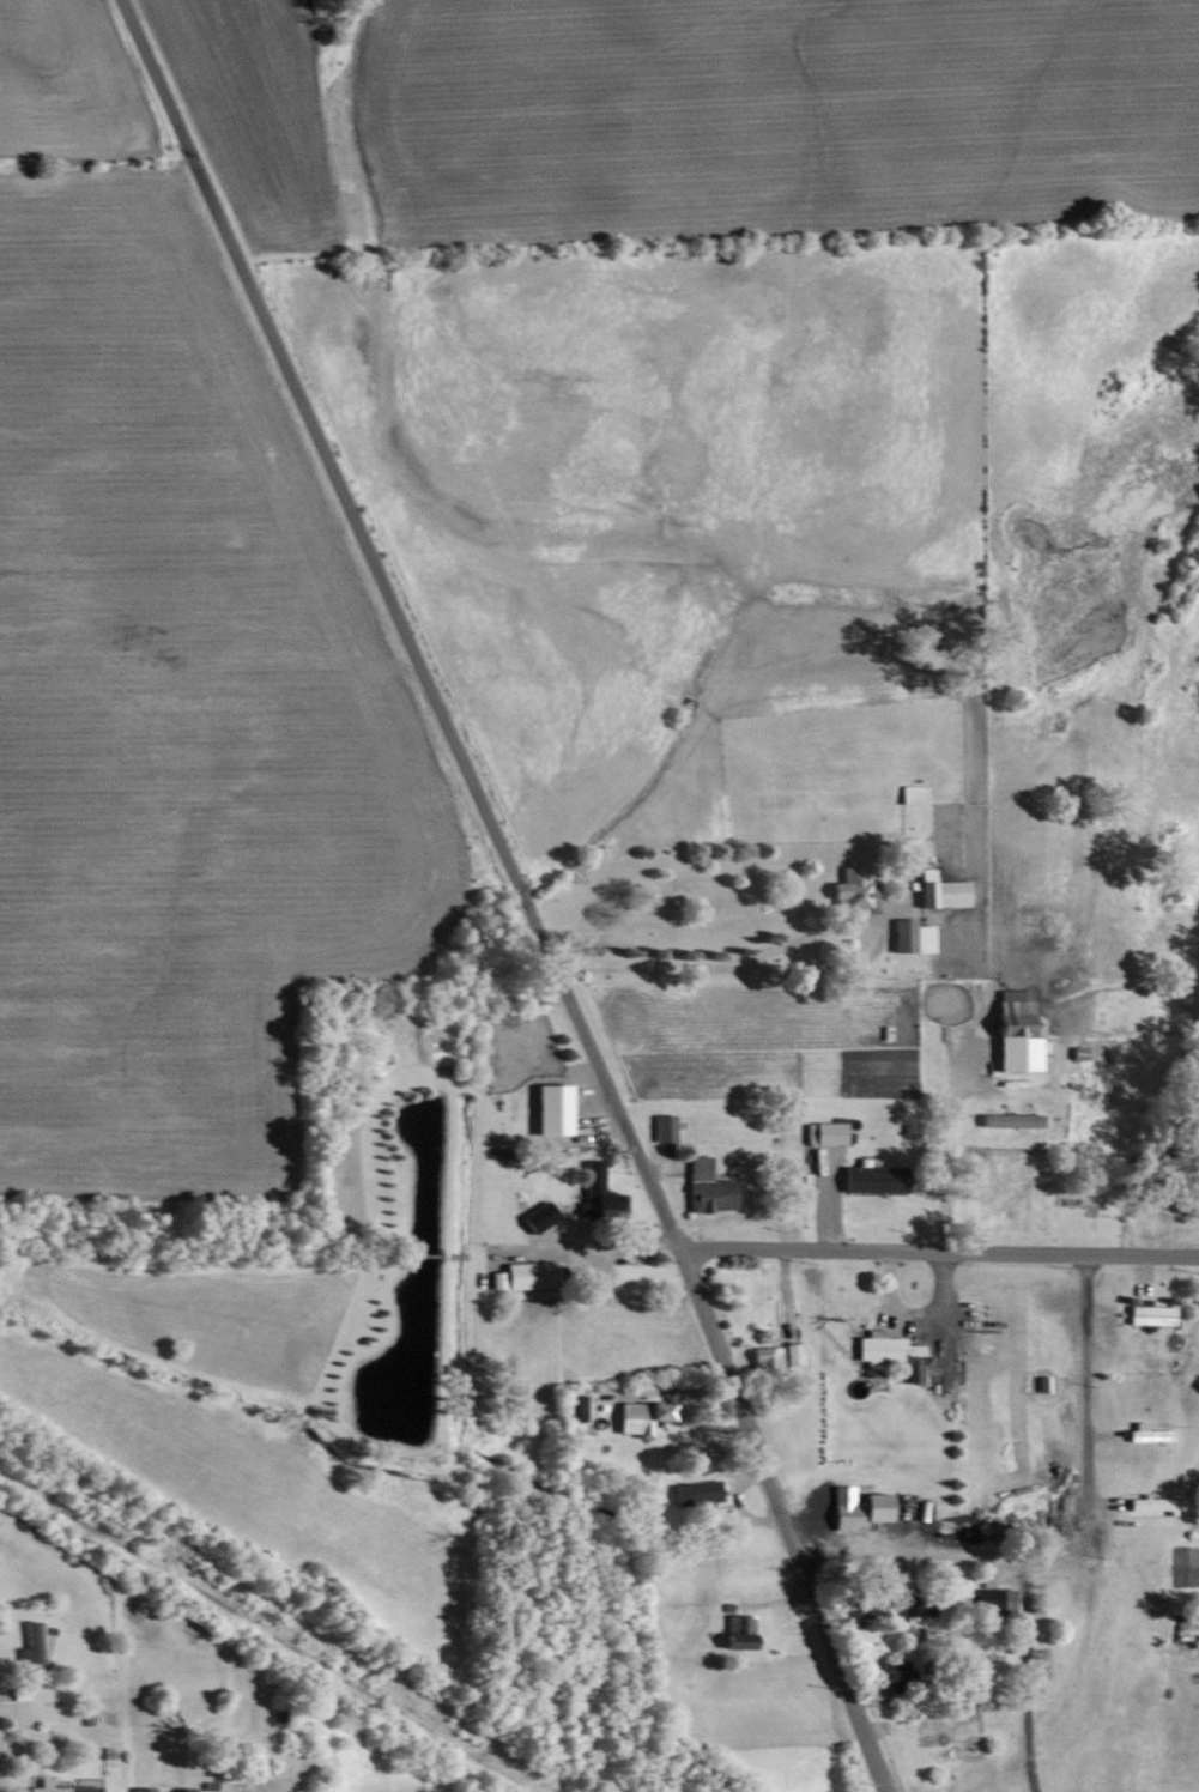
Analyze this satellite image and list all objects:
road: (399, 623)
building: (909, 793)
building: (847, 889)
building: (937, 890)
road: (811, 934)
building: (907, 936)
road: (710, 968)
building: (1011, 1031)
building: (545, 1109)
building: (1004, 1119)
building: (664, 1126)
building: (824, 1132)
road: (947, 1139)
building: (588, 1173)
building: (866, 1177)
building: (706, 1187)
building: (601, 1201)
road: (939, 1249)
building: (525, 1275)
building: (1147, 1314)
building: (792, 1352)
building: (885, 1352)
building: (768, 1358)
building: (571, 1406)
building: (634, 1417)
building: (1144, 1431)
building: (692, 1493)
building: (1147, 1502)
building: (854, 1506)
road: (776, 1520)
road: (1085, 1530)
road: (941, 1557)
building: (992, 1599)
building: (854, 1606)
building: (732, 1630)
building: (29, 1648)
road: (1023, 1654)
road: (283, 1781)
building: (55, 1787)
building: (137, 1788)

